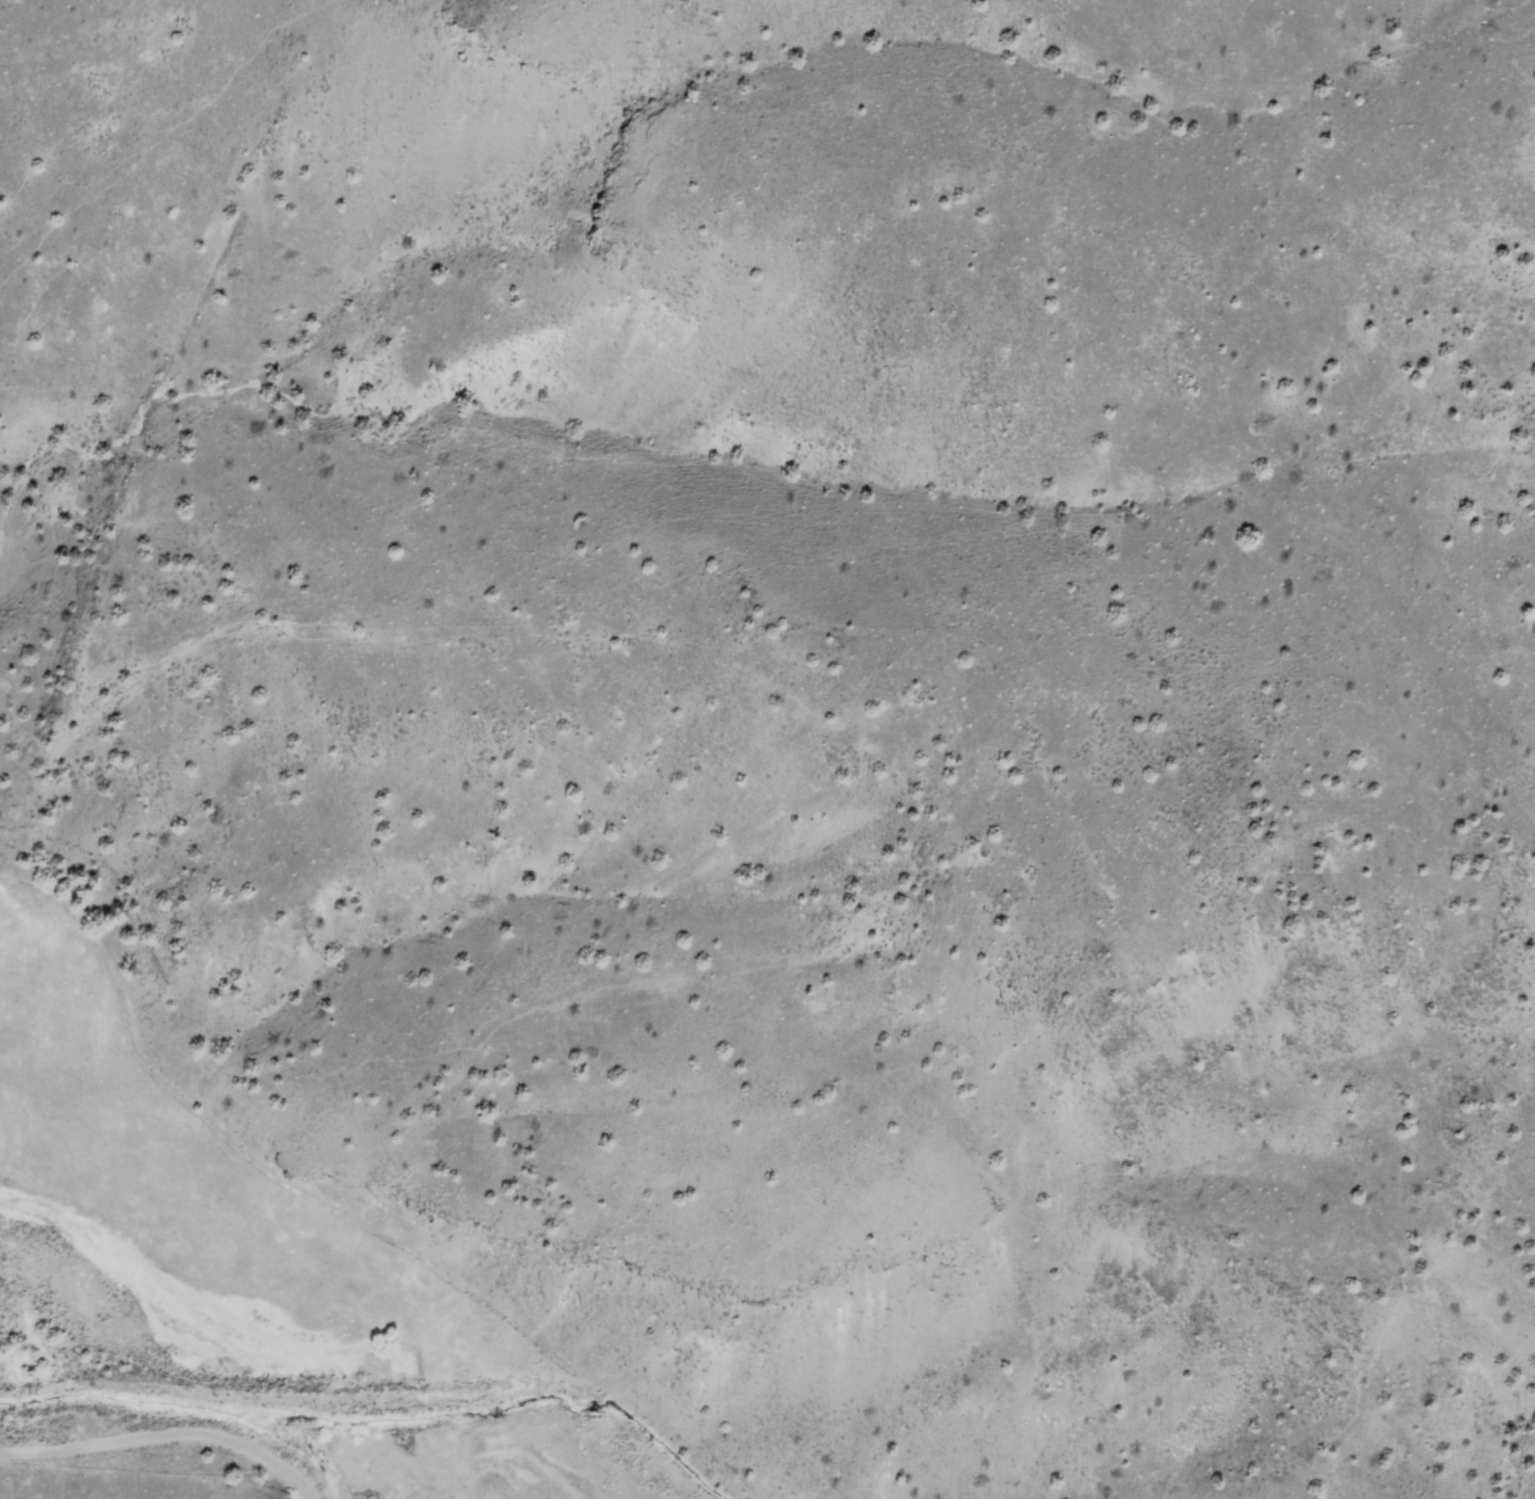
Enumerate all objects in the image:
road: (157, 1429)

